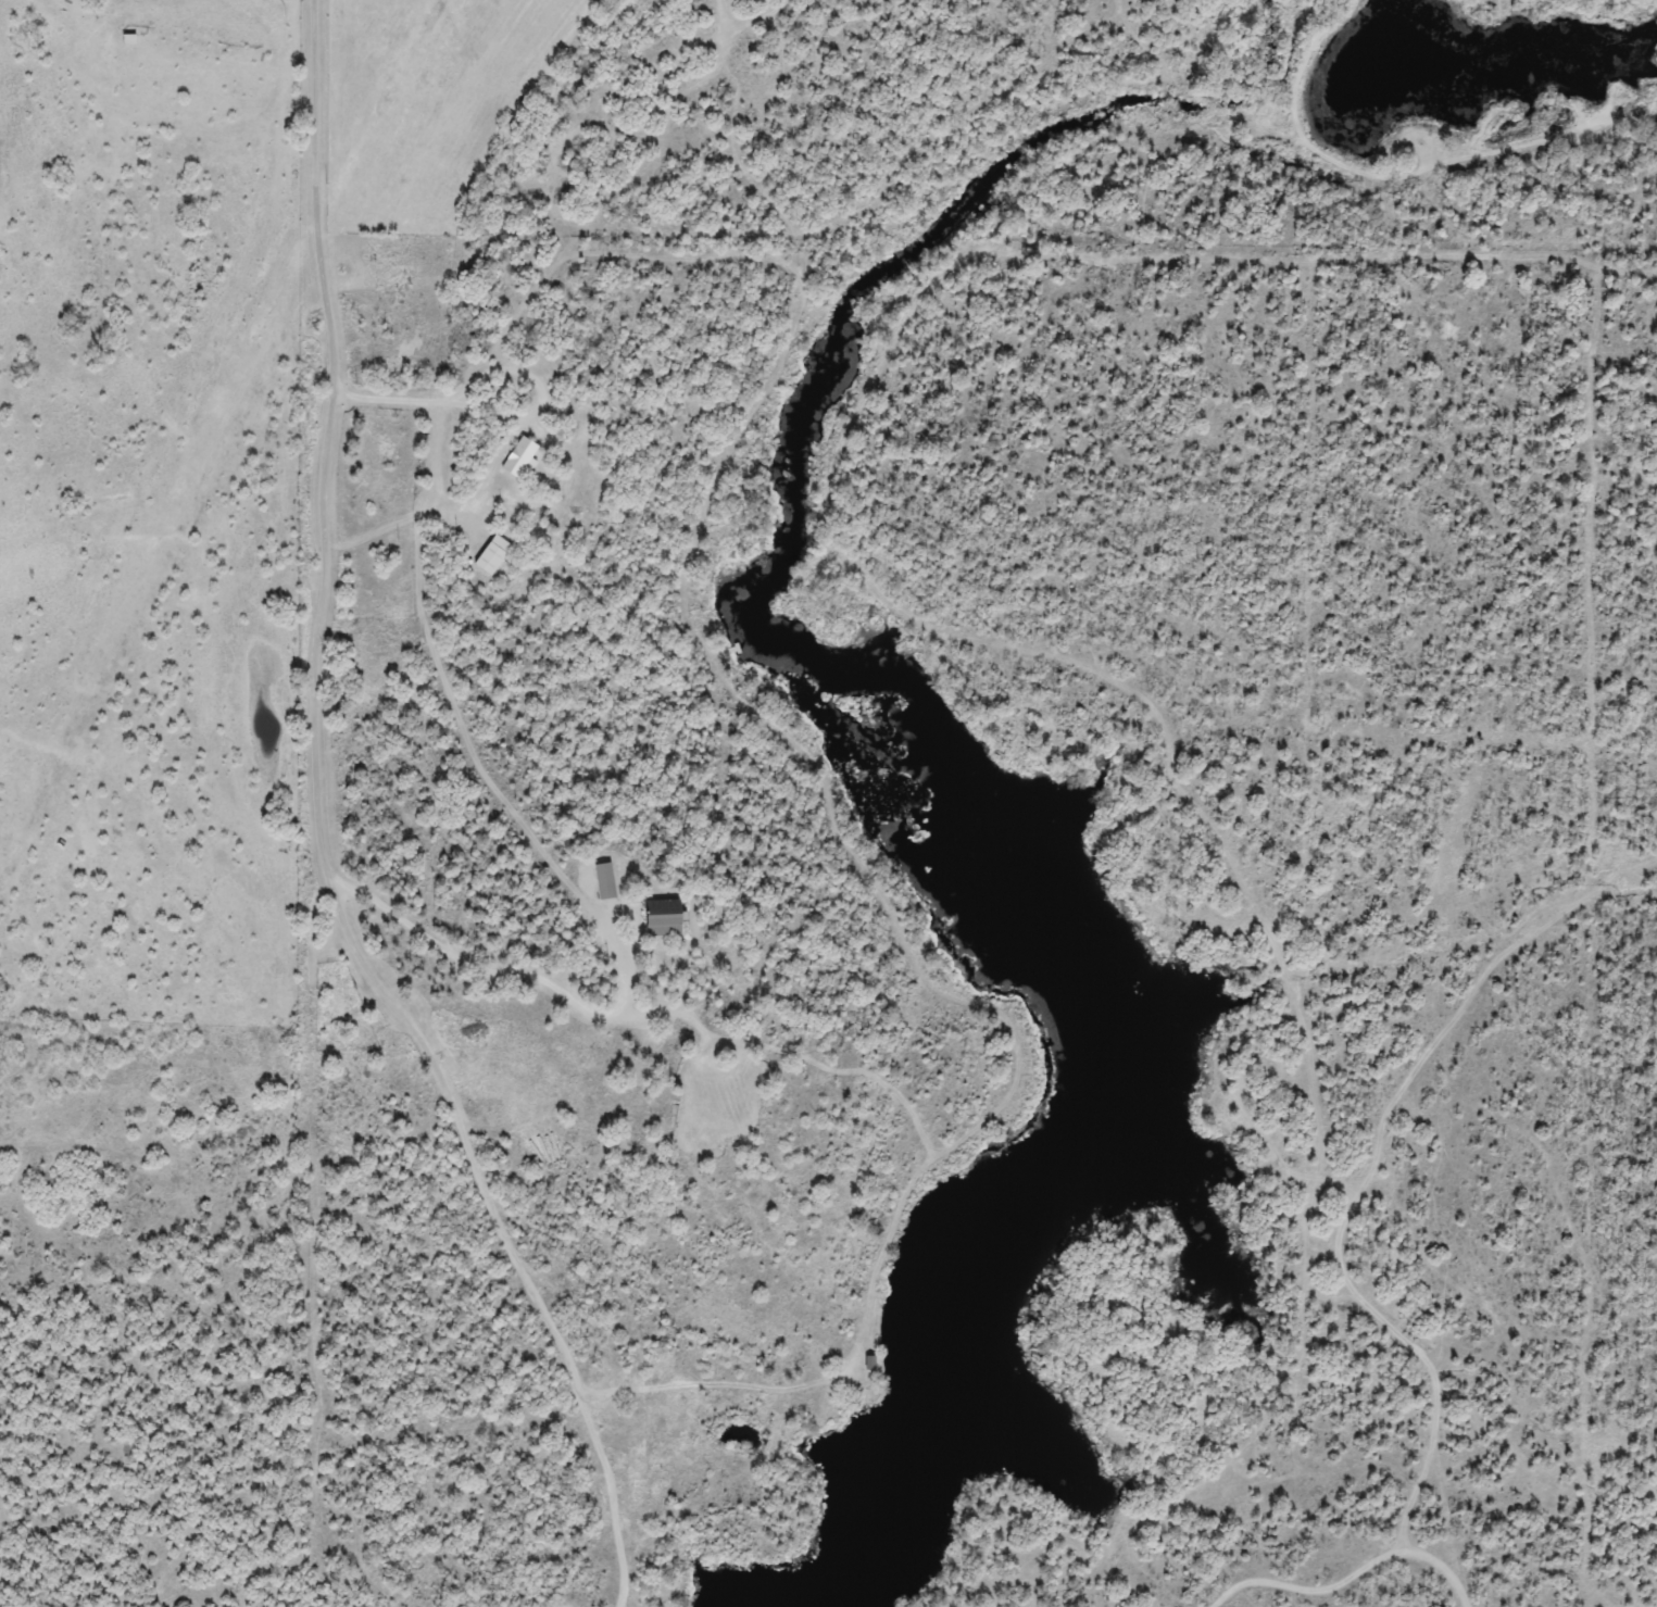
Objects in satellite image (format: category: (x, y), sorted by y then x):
road: (316, 196)
building: (515, 459)
building: (601, 881)
building: (656, 919)
road: (608, 1019)

